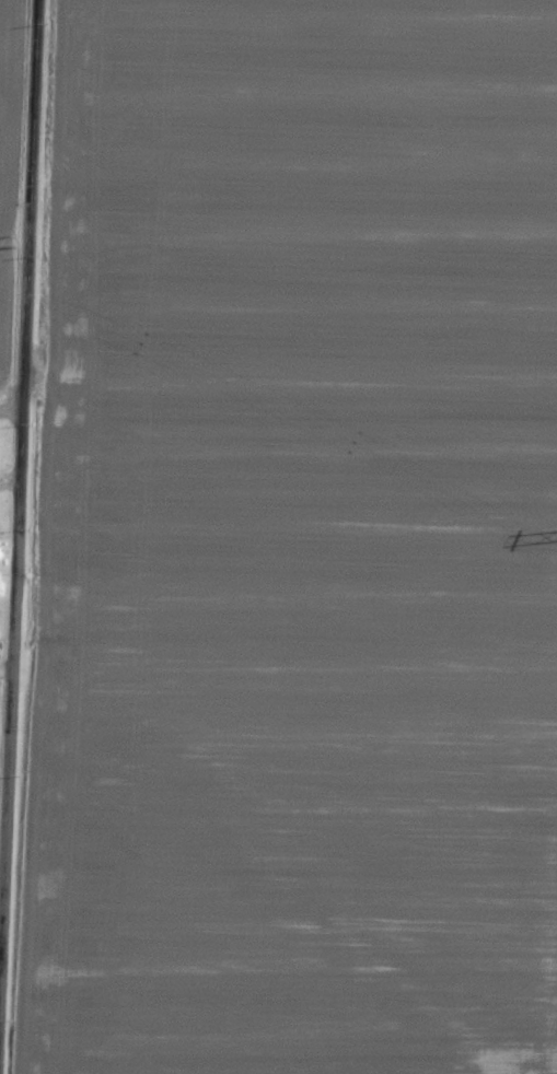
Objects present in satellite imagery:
power tower: (20, 237)
road: (30, 536)

